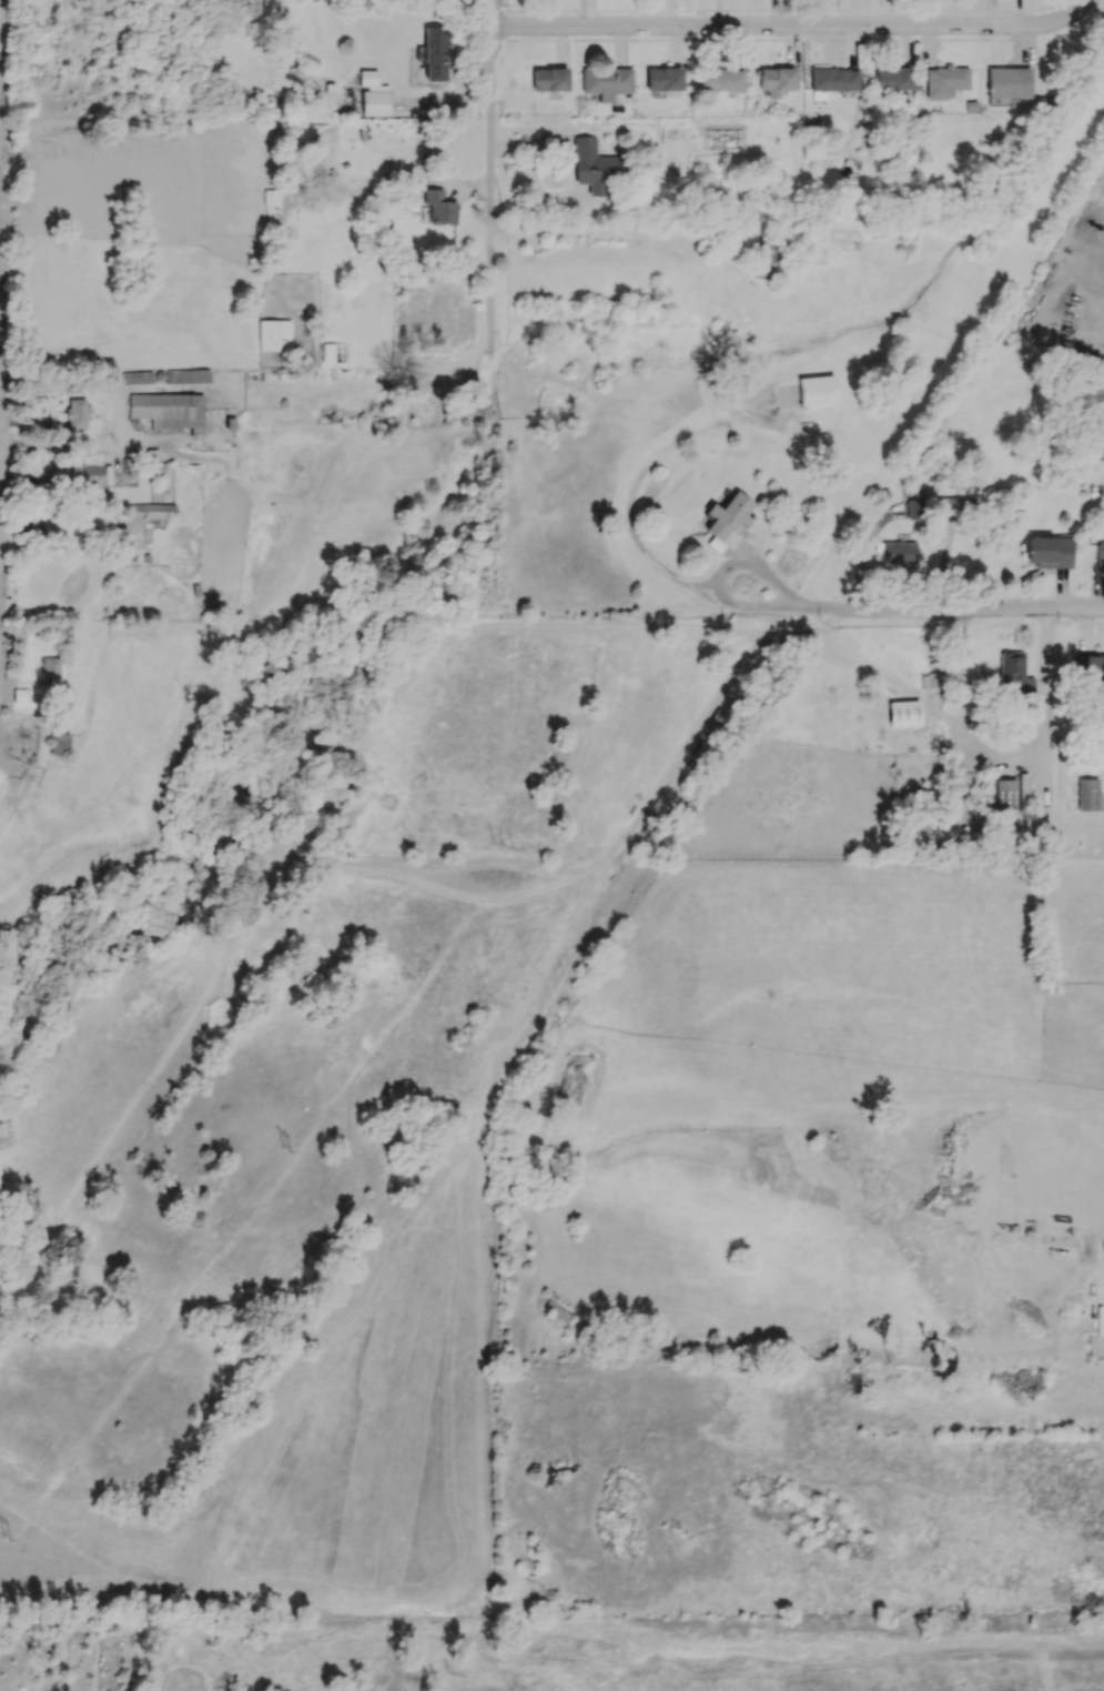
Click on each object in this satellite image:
road: (793, 27)
building: (435, 52)
building: (549, 79)
building: (662, 79)
building: (719, 79)
building: (833, 79)
building: (891, 79)
building: (776, 80)
building: (944, 81)
building: (605, 82)
building: (1006, 82)
building: (373, 94)
building: (813, 152)
building: (595, 168)
road: (490, 171)
building: (271, 197)
building: (438, 205)
road: (612, 229)
building: (412, 278)
road: (2, 309)
building: (274, 334)
power tower: (498, 343)
building: (816, 390)
building: (169, 411)
building: (77, 413)
building: (83, 474)
road: (77, 484)
building: (914, 509)
building: (728, 515)
building: (135, 525)
road: (637, 526)
building: (899, 552)
building: (1047, 552)
building: (1100, 554)
road: (1, 558)
power tower: (499, 613)
road: (953, 613)
building: (1090, 666)
building: (50, 668)
building: (1013, 673)
building: (21, 695)
building: (60, 743)
road: (1004, 763)
building: (1023, 791)
building: (1005, 794)
building: (1088, 795)
road: (618, 841)
power tower: (505, 848)
road: (480, 863)
power tower: (224, 1228)
building: (557, 1310)
building: (1103, 1319)
road: (67, 1641)
landfill: (688, 1661)
road: (190, 1690)

